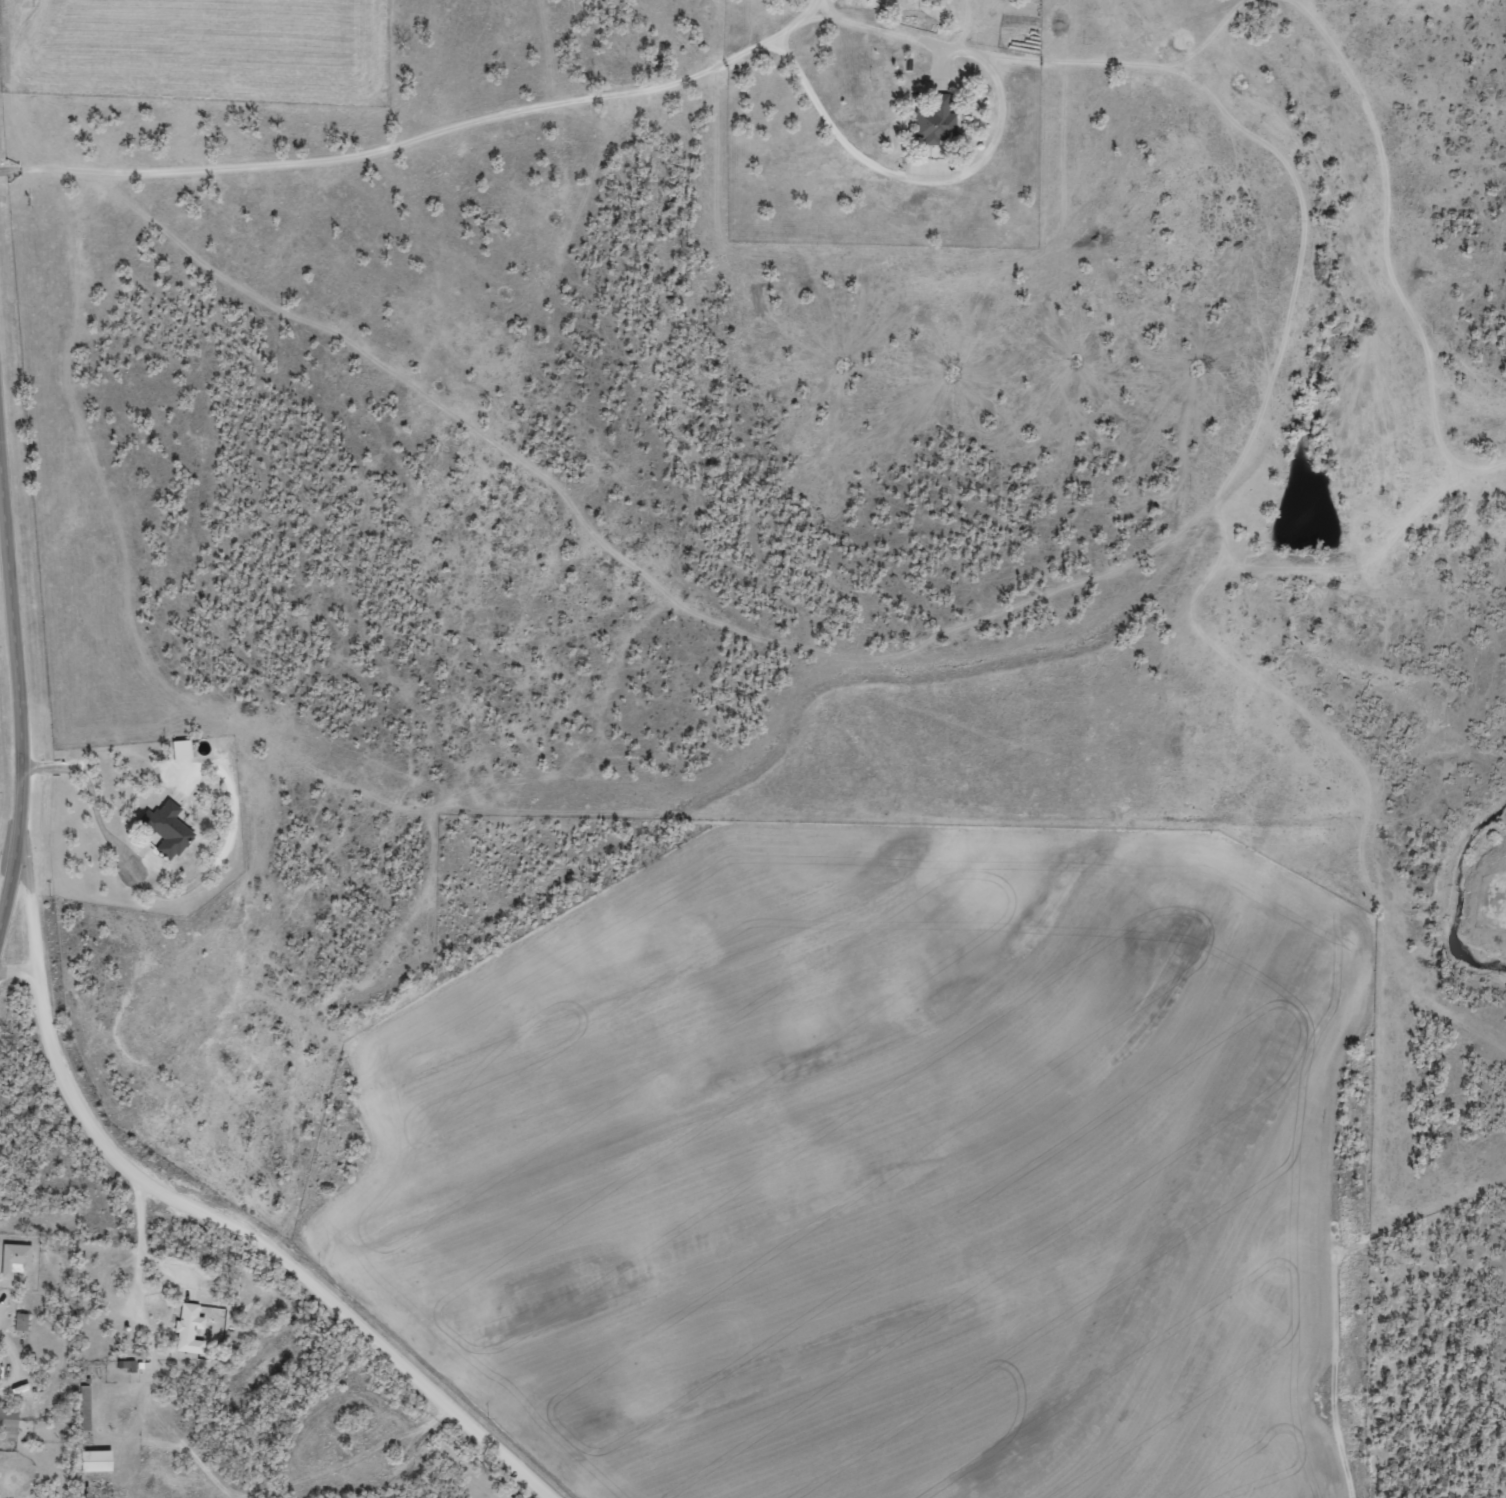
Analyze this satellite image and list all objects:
building: (937, 120)
road: (323, 303)
road: (19, 694)
building: (185, 749)
building: (170, 828)
road: (238, 1213)
building: (18, 1258)
building: (192, 1328)
road: (139, 1359)
building: (86, 1407)
building: (11, 1421)
building: (98, 1460)
road: (453, 1463)

